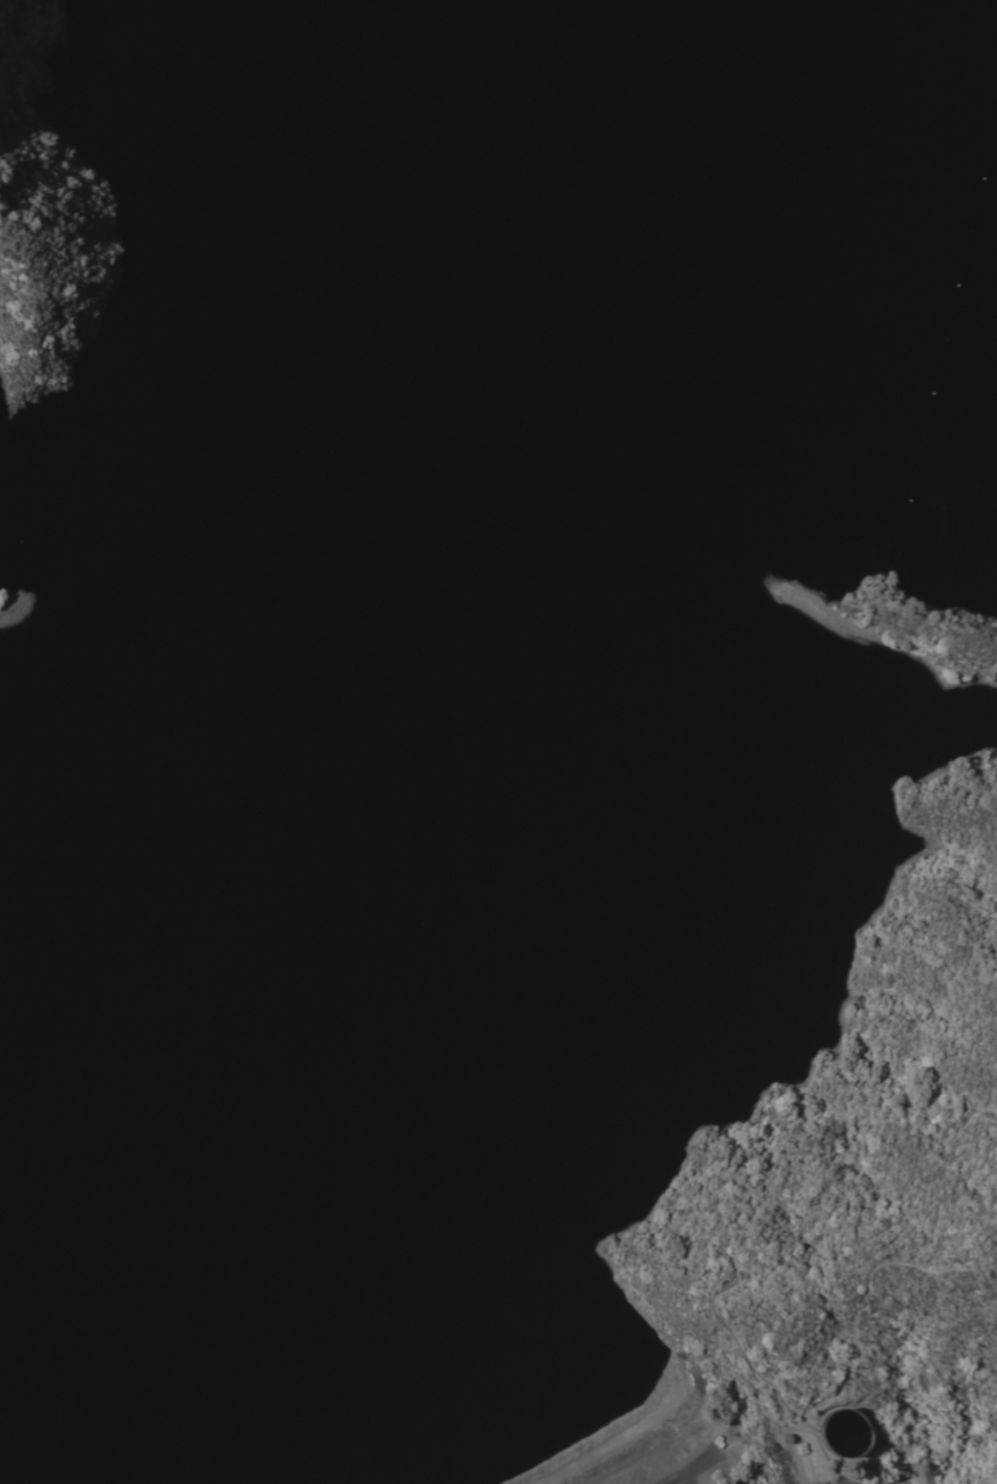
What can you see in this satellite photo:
river: (937, 58)
river: (212, 741)
building: (545, 1082)
river: (493, 1283)
river: (10, 1396)
building: (843, 1432)
dam: (639, 1443)

